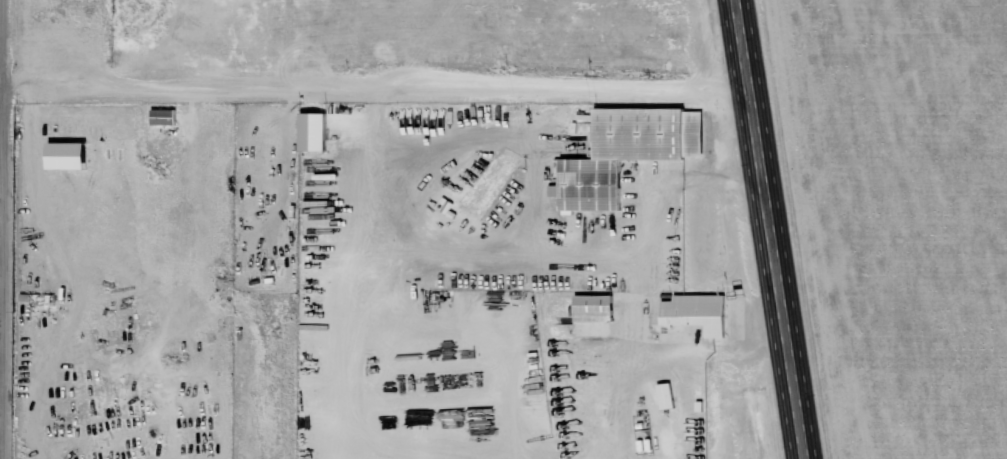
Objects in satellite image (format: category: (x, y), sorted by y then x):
building: (163, 117)
building: (314, 130)
building: (623, 152)
road: (766, 229)
building: (593, 307)
building: (694, 311)
building: (665, 395)

